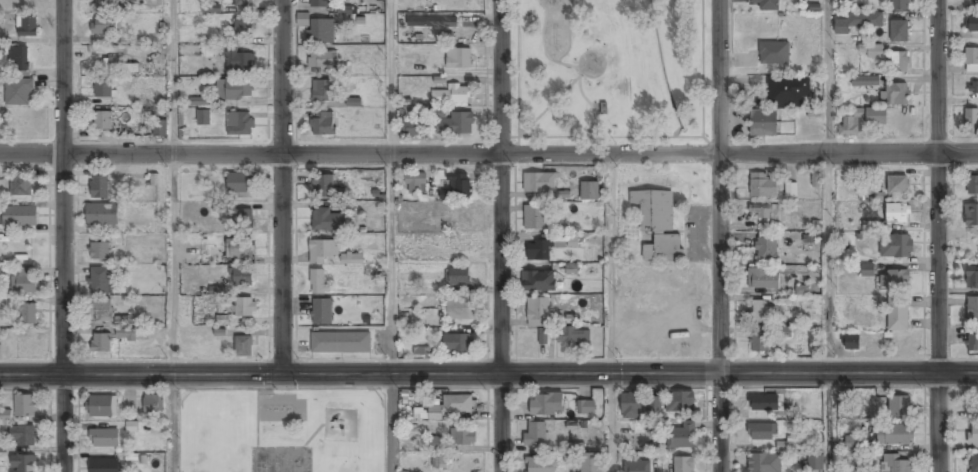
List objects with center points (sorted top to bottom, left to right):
building: (242, 4)
building: (321, 4)
building: (105, 5)
building: (767, 5)
building: (898, 5)
building: (211, 7)
building: (344, 9)
building: (303, 19)
building: (432, 23)
building: (971, 25)
building: (104, 26)
building: (842, 26)
building: (28, 27)
building: (243, 27)
building: (899, 30)
building: (321, 32)
building: (445, 36)
building: (871, 50)
building: (773, 52)
building: (814, 55)
building: (19, 59)
building: (458, 59)
building: (238, 60)
building: (321, 60)
building: (899, 61)
building: (971, 61)
building: (111, 65)
park: (609, 70)
road: (173, 76)
road: (393, 76)
road: (828, 76)
building: (864, 83)
building: (234, 89)
building: (103, 90)
building: (972, 90)
building: (321, 91)
building: (787, 92)
building: (18, 93)
building: (894, 94)
building: (451, 95)
building: (200, 101)
building: (353, 102)
building: (203, 118)
building: (103, 121)
building: (971, 121)
building: (875, 122)
building: (239, 124)
building: (323, 124)
building: (762, 124)
building: (455, 125)
building: (160, 129)
building: (409, 129)
road: (689, 133)
road: (640, 135)
road: (572, 136)
road: (249, 153)
road: (609, 153)
road: (848, 153)
building: (241, 183)
building: (539, 183)
building: (415, 184)
building: (21, 186)
road: (282, 186)
building: (323, 186)
building: (761, 186)
building: (896, 186)
building: (972, 186)
building: (461, 187)
building: (99, 188)
building: (790, 189)
building: (589, 192)
building: (346, 206)
building: (765, 212)
building: (896, 214)
building: (102, 215)
building: (971, 216)
building: (18, 217)
building: (243, 218)
building: (533, 218)
building: (461, 220)
building: (328, 221)
building: (657, 224)
road: (64, 235)
road: (499, 236)
road: (718, 236)
road: (938, 236)
building: (460, 245)
building: (895, 247)
building: (543, 248)
building: (239, 249)
building: (100, 251)
building: (322, 251)
building: (766, 251)
building: (352, 259)
road: (392, 263)
road: (174, 264)
building: (865, 270)
building: (457, 277)
building: (242, 278)
building: (972, 278)
building: (894, 279)
building: (99, 281)
building: (762, 281)
building: (538, 282)
building: (318, 283)
building: (23, 284)
building: (217, 290)
building: (245, 308)
building: (460, 309)
building: (102, 311)
building: (972, 311)
building: (322, 312)
road: (611, 312)
building: (758, 312)
road: (827, 312)
building: (27, 314)
building: (897, 316)
building: (538, 317)
building: (124, 328)
building: (783, 332)
building: (573, 336)
building: (340, 343)
building: (456, 343)
building: (758, 343)
building: (851, 343)
building: (972, 343)
building: (101, 344)
building: (243, 346)
road: (489, 374)
building: (653, 403)
building: (680, 403)
building: (763, 403)
building: (546, 405)
building: (153, 406)
building: (451, 406)
building: (25, 407)
building: (102, 407)
building: (629, 407)
building: (898, 407)
building: (586, 408)
building: (5, 415)
road: (173, 423)
road: (390, 423)
building: (811, 429)
building: (760, 432)
building: (536, 435)
building: (973, 435)
building: (893, 436)
building: (22, 437)
building: (462, 437)
building: (681, 437)
building: (103, 439)
building: (852, 442)
building: (433, 443)
building: (783, 445)
building: (439, 461)
building: (590, 463)
building: (764, 463)
building: (23, 464)
building: (682, 464)
building: (815, 464)
building: (894, 464)
building: (973, 464)
building: (539, 465)
building: (104, 466)
building: (636, 467)

